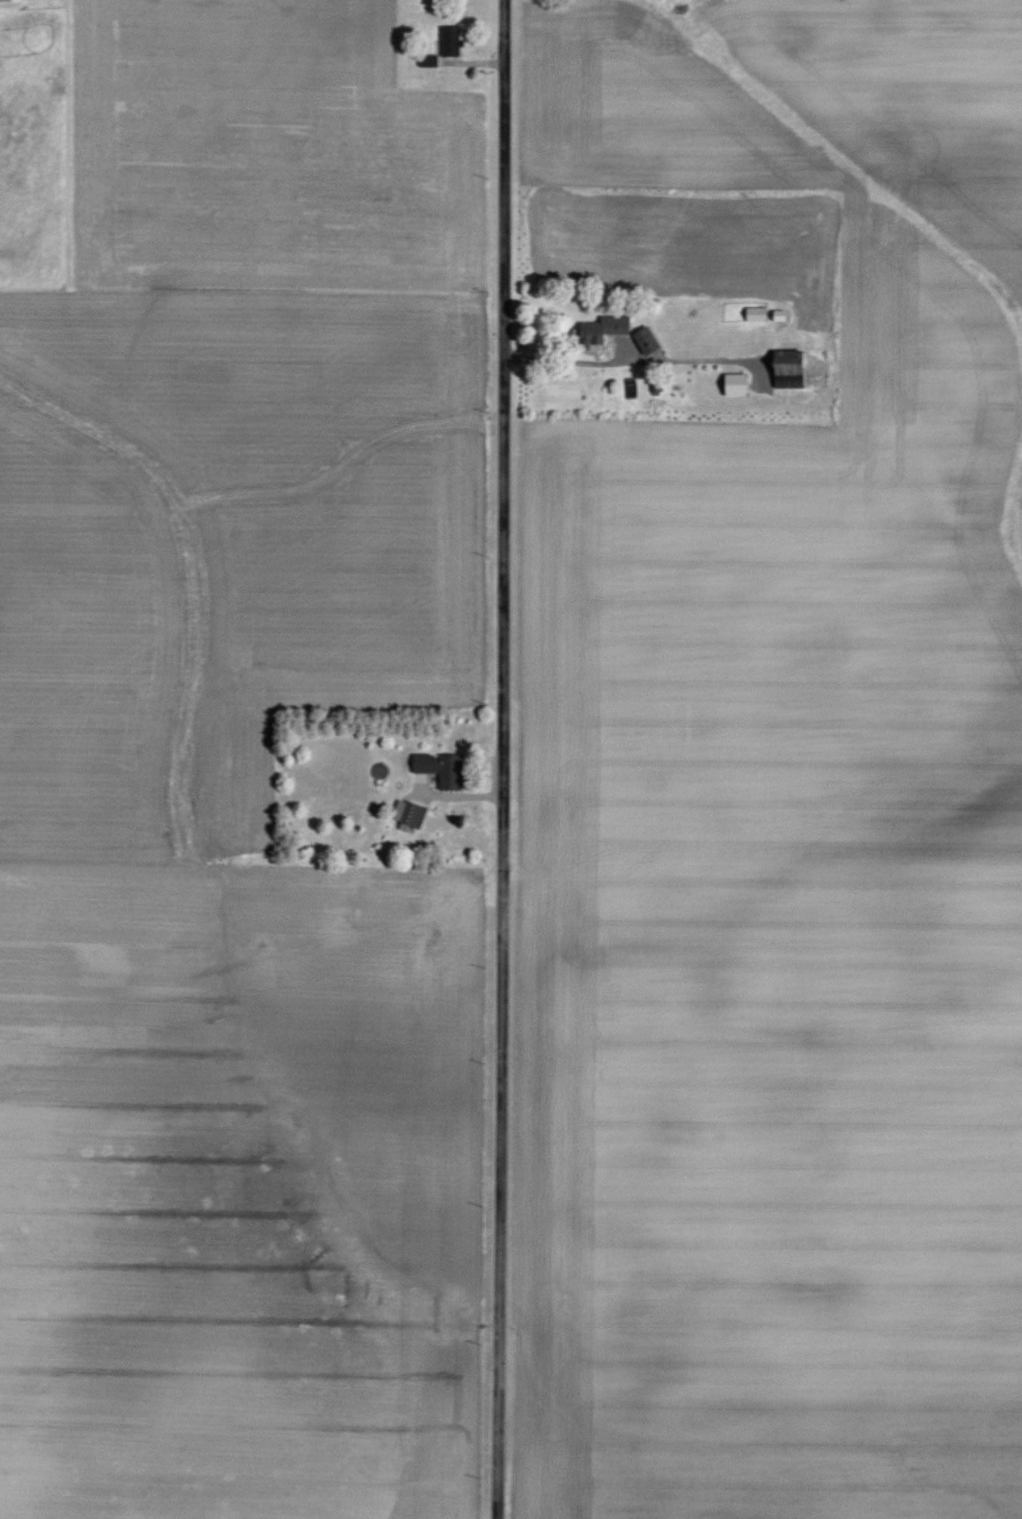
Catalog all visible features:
building: (447, 41)
building: (597, 330)
building: (641, 340)
road: (621, 361)
building: (782, 368)
building: (730, 384)
road: (498, 759)
building: (436, 768)
building: (410, 815)

